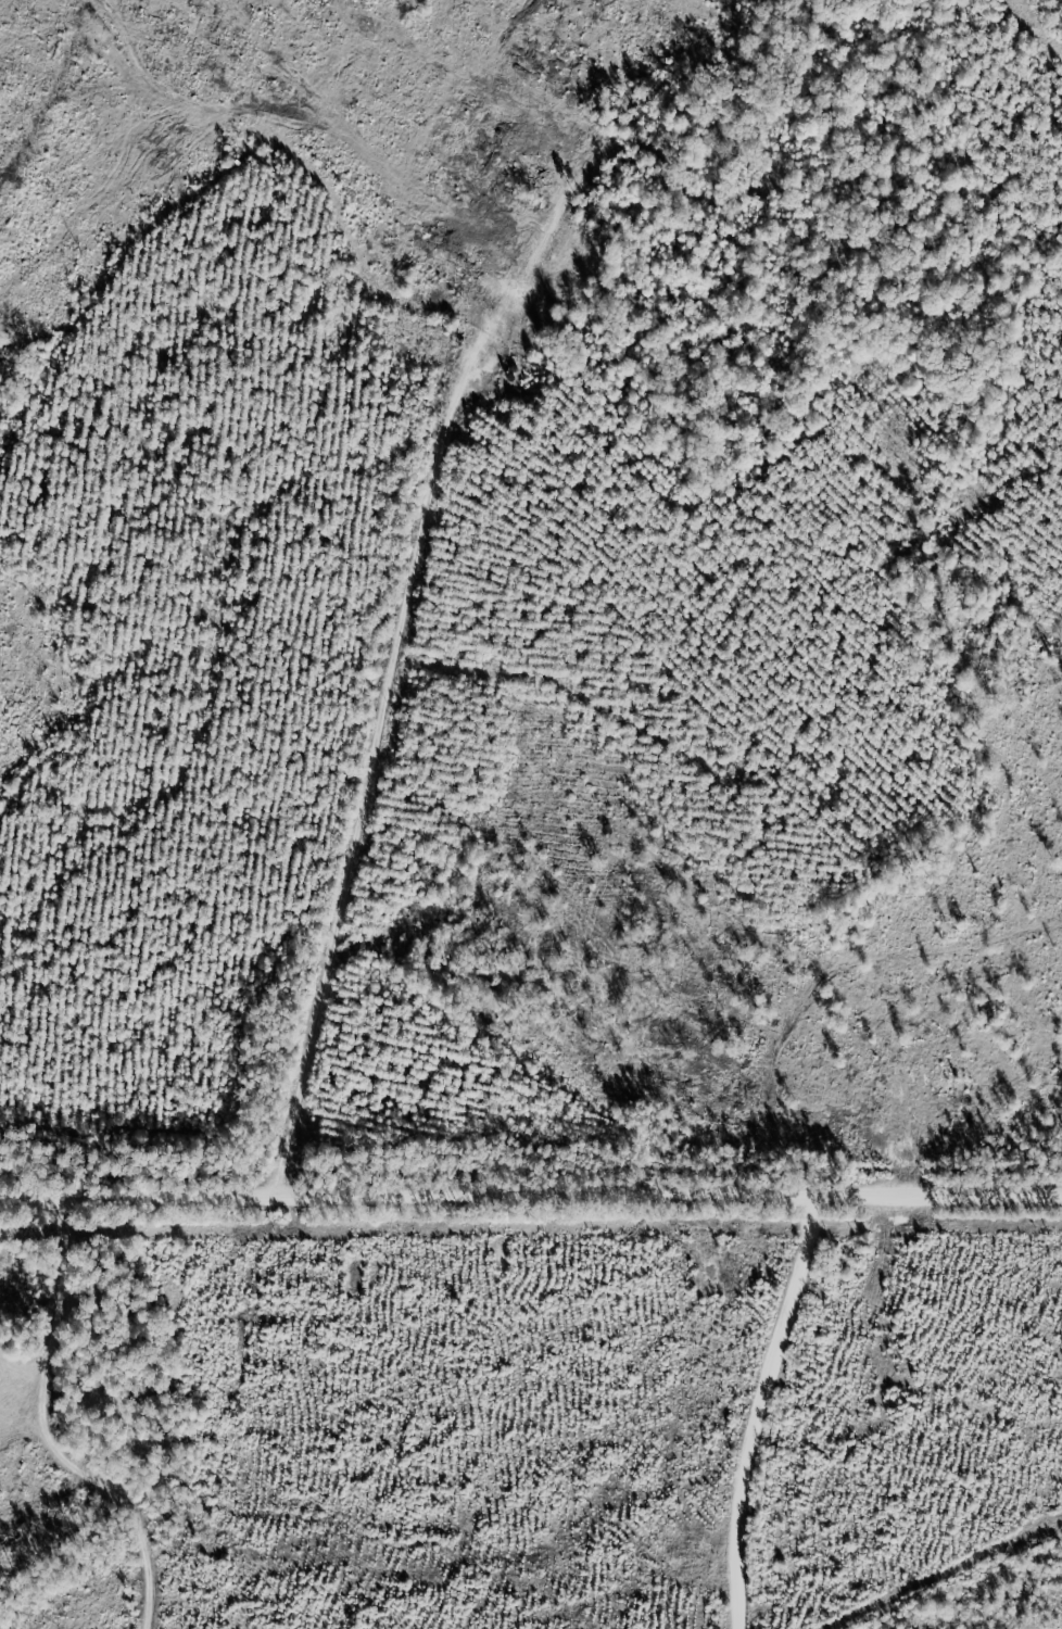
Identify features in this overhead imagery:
road: (530, 1199)
road: (753, 1411)
road: (46, 1431)

